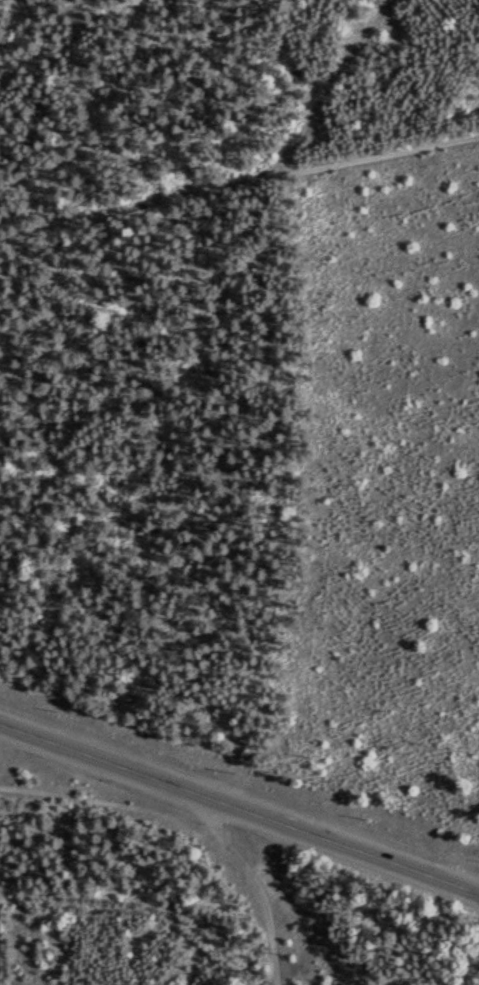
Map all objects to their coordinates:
road: (338, 89)
road: (239, 187)
road: (239, 808)
road: (261, 884)
road: (292, 907)

